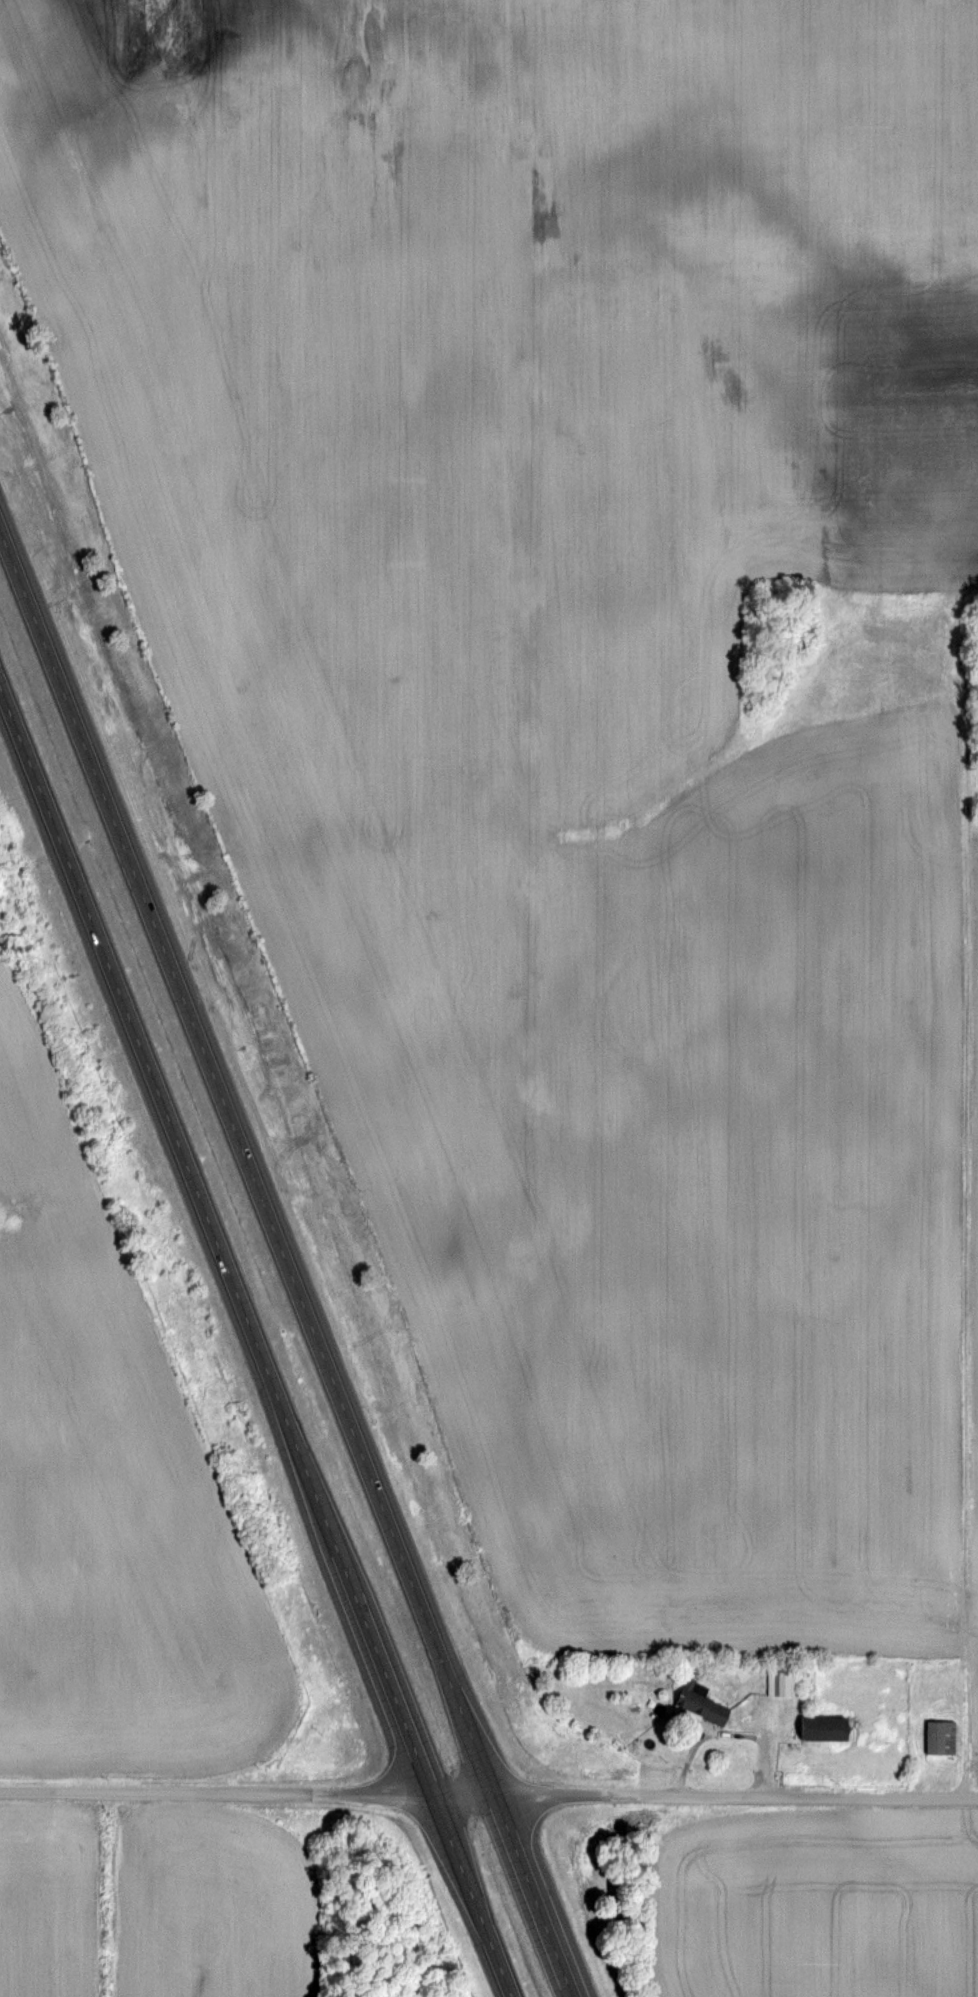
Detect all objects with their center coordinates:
road: (287, 1263)
road: (255, 1341)
building: (779, 1684)
building: (698, 1705)
building: (821, 1728)
road: (732, 1734)
building: (940, 1737)
road: (489, 1796)

